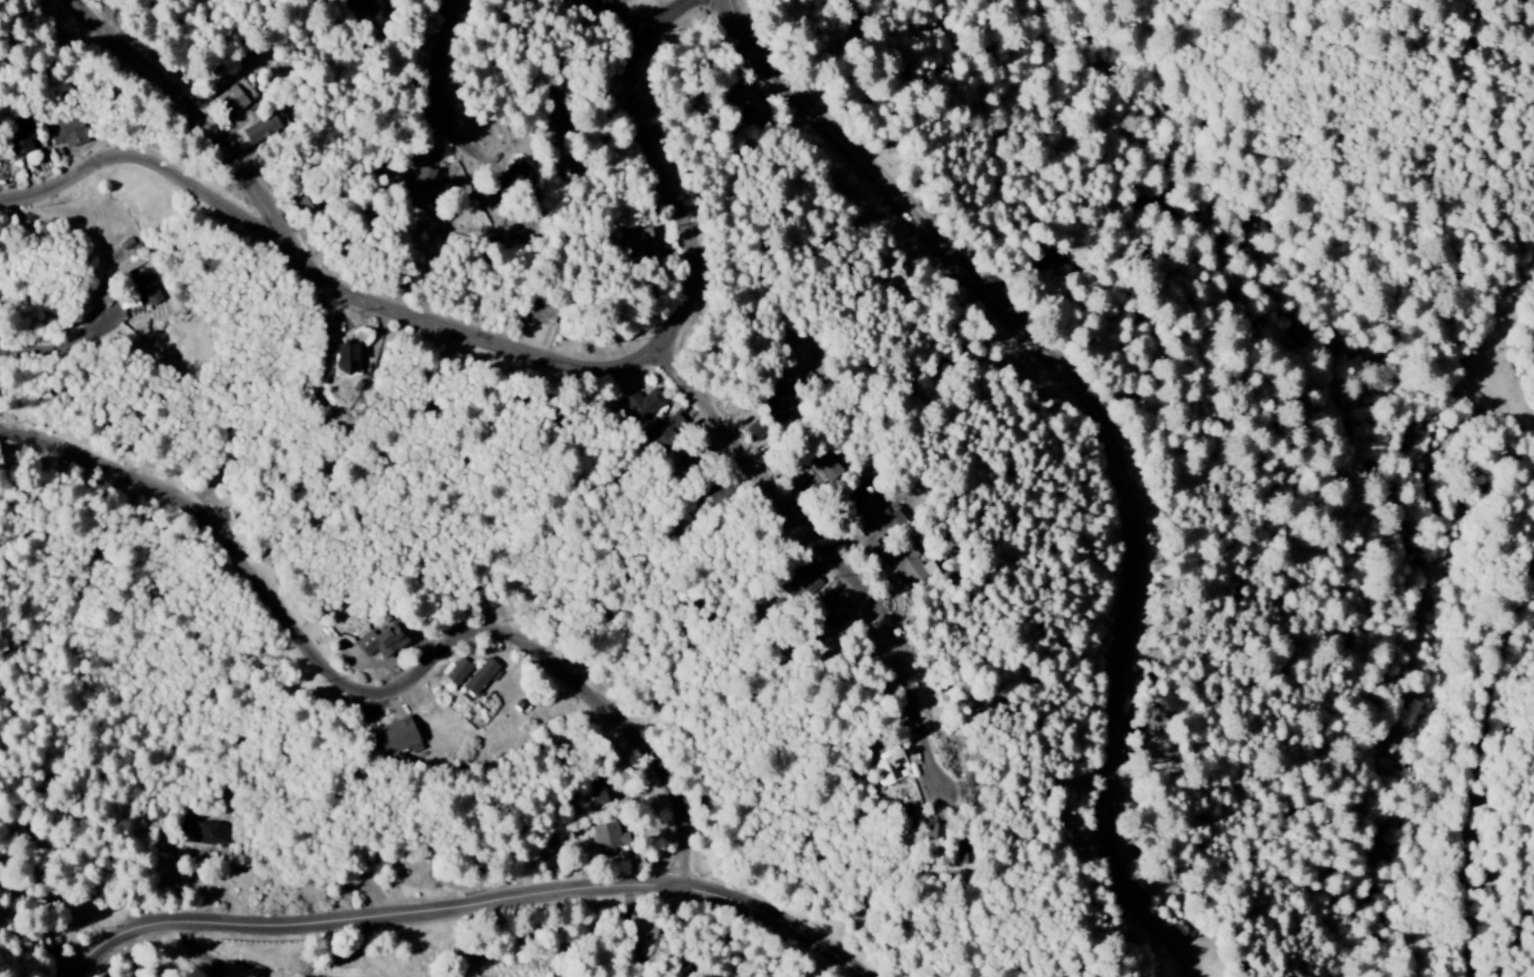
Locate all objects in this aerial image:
building: (355, 4)
road: (630, 19)
road: (450, 57)
building: (235, 98)
building: (553, 105)
building: (749, 106)
building: (261, 129)
building: (67, 133)
building: (18, 136)
road: (156, 160)
building: (513, 176)
building: (419, 188)
building: (636, 239)
building: (146, 288)
building: (543, 313)
road: (512, 345)
road: (60, 349)
building: (345, 361)
building: (776, 401)
building: (636, 405)
building: (663, 431)
building: (756, 431)
road: (1116, 434)
building: (824, 464)
building: (874, 523)
road: (833, 551)
building: (901, 561)
building: (802, 579)
building: (828, 610)
building: (381, 642)
building: (457, 671)
building: (481, 677)
road: (385, 688)
building: (396, 736)
road: (1505, 740)
building: (888, 770)
building: (600, 791)
building: (932, 831)
building: (202, 833)
building: (606, 836)
building: (963, 850)
road: (479, 908)
road: (1481, 912)
building: (642, 928)
building: (235, 971)

